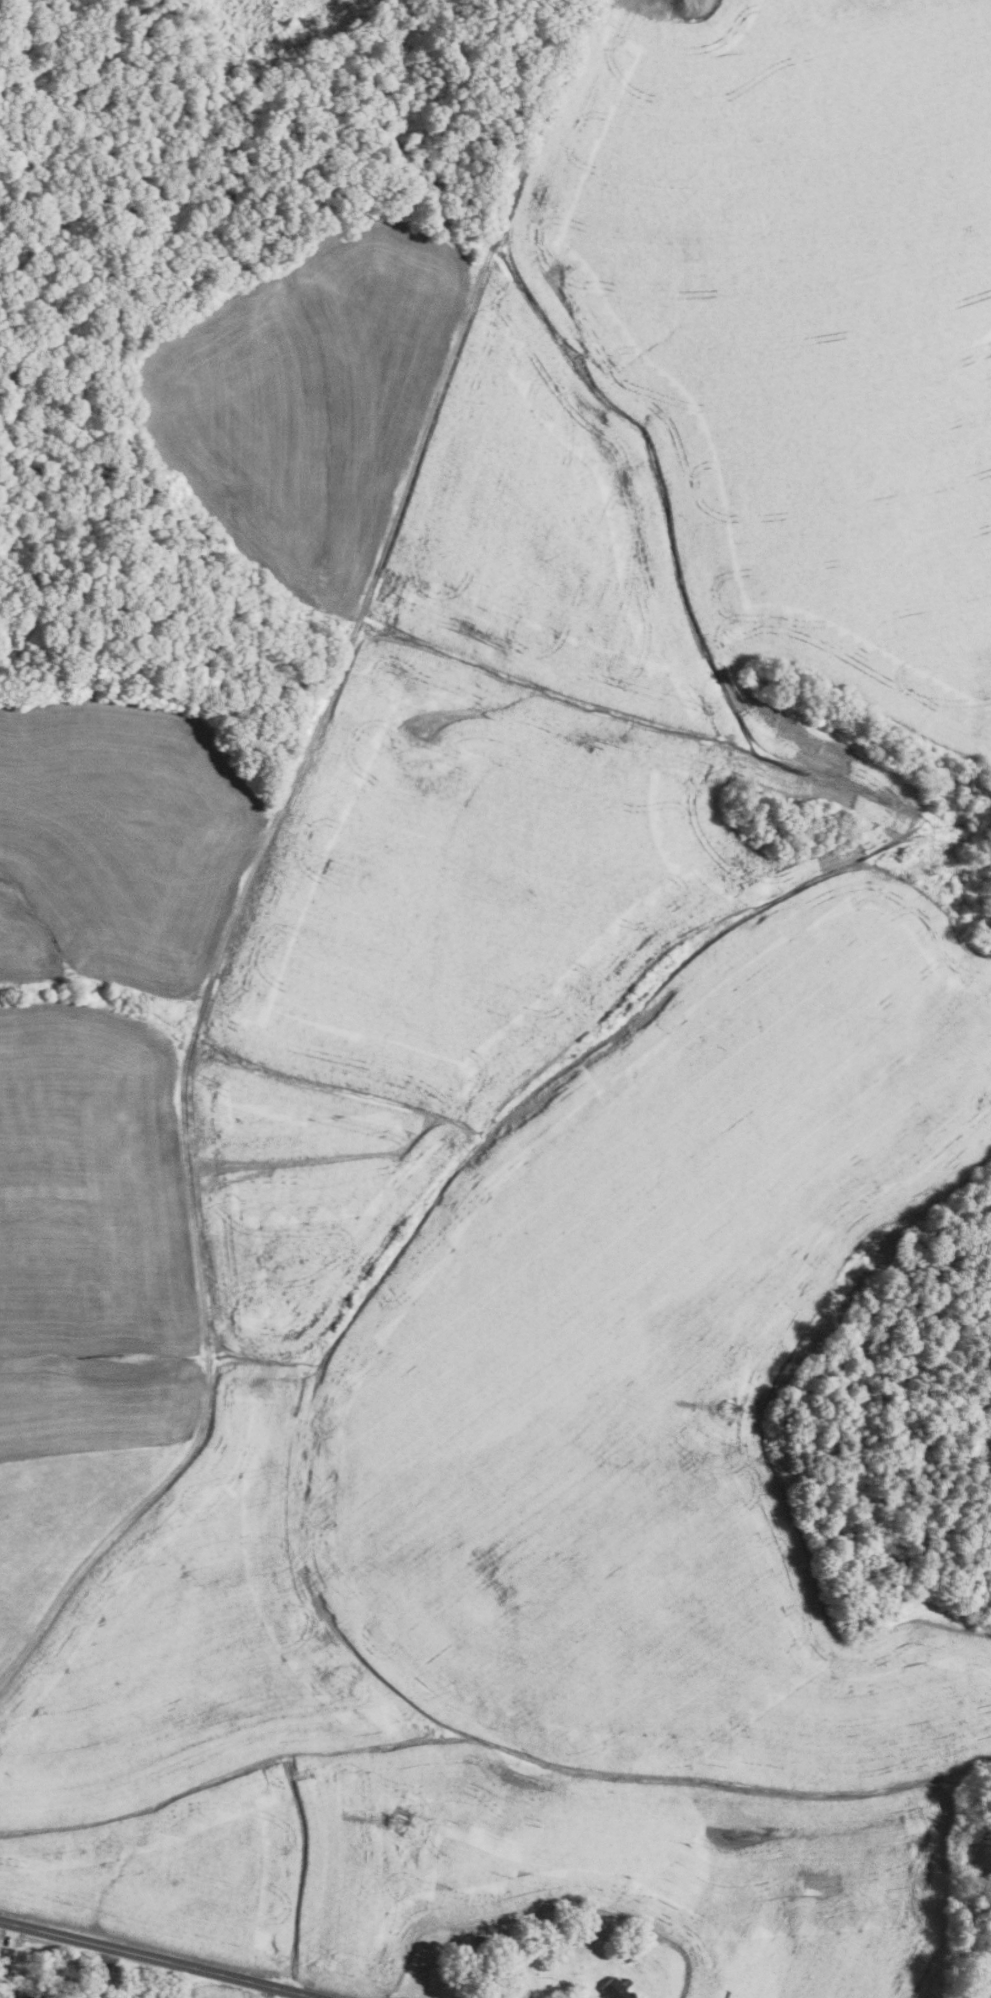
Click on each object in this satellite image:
crop: (683, 0)
crop: (307, 398)
crop: (621, 607)
crop: (118, 844)
crop: (92, 1236)
power tower: (729, 1407)
crop: (63, 1522)
crop: (555, 1539)
power tower: (398, 1813)
building: (586, 1931)
building: (501, 1937)
building: (483, 1942)
road: (158, 1958)
building: (476, 1973)
building: (615, 1988)
crop: (215, 1990)
building: (13, 1996)
building: (1, 1997)

